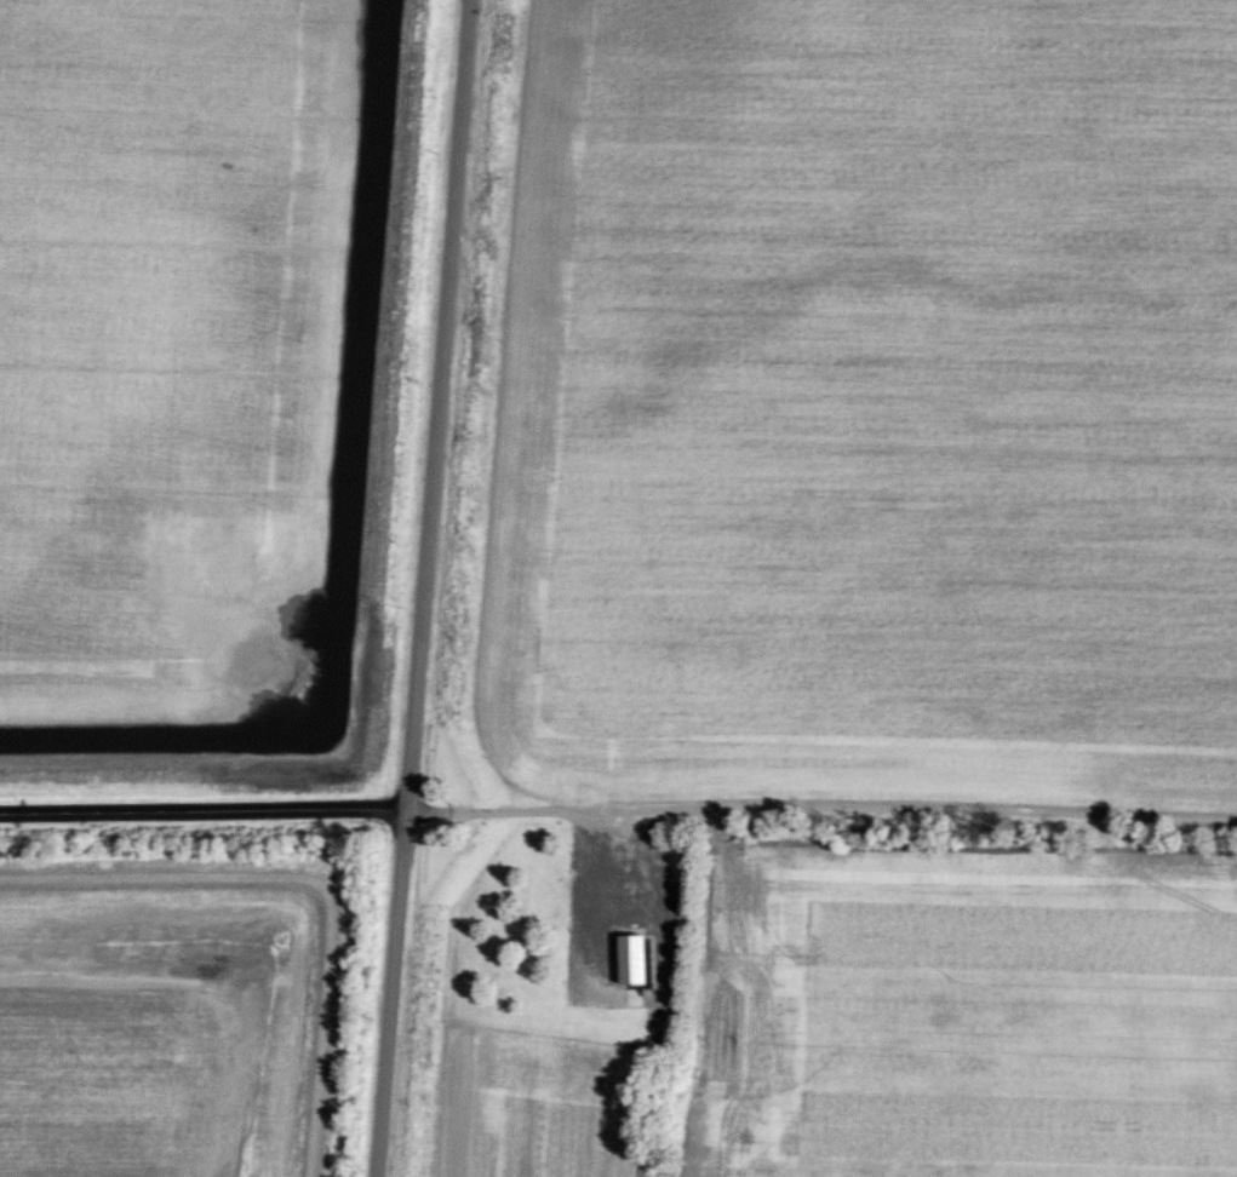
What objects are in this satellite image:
road: (436, 404)
road: (202, 810)
road: (821, 816)
road: (390, 993)

